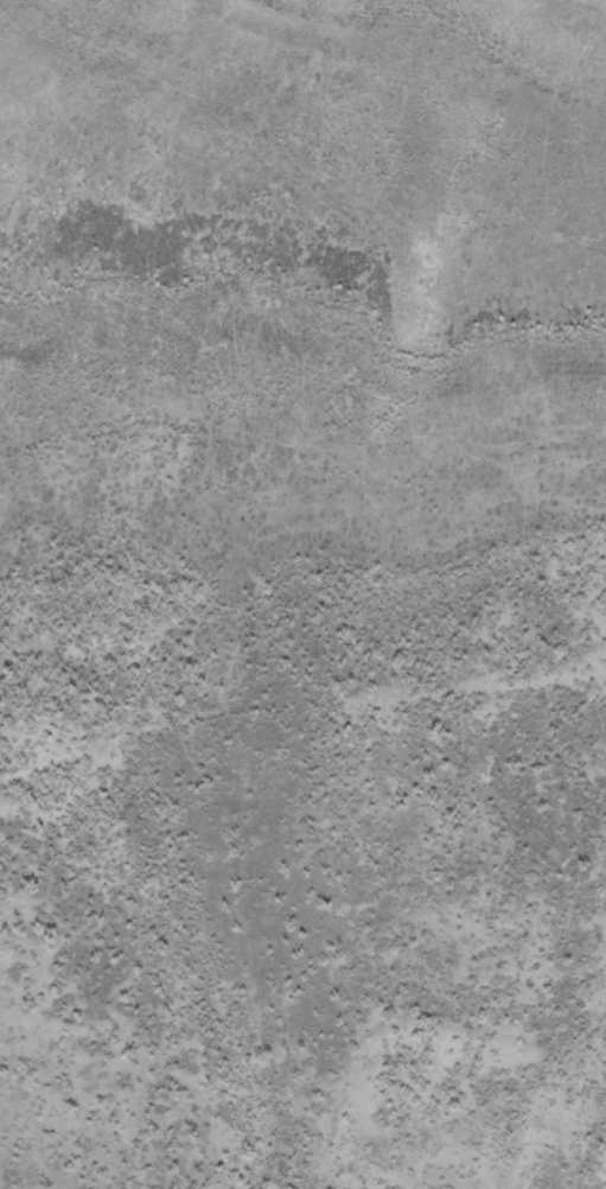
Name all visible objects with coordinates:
road: (26, 787)

